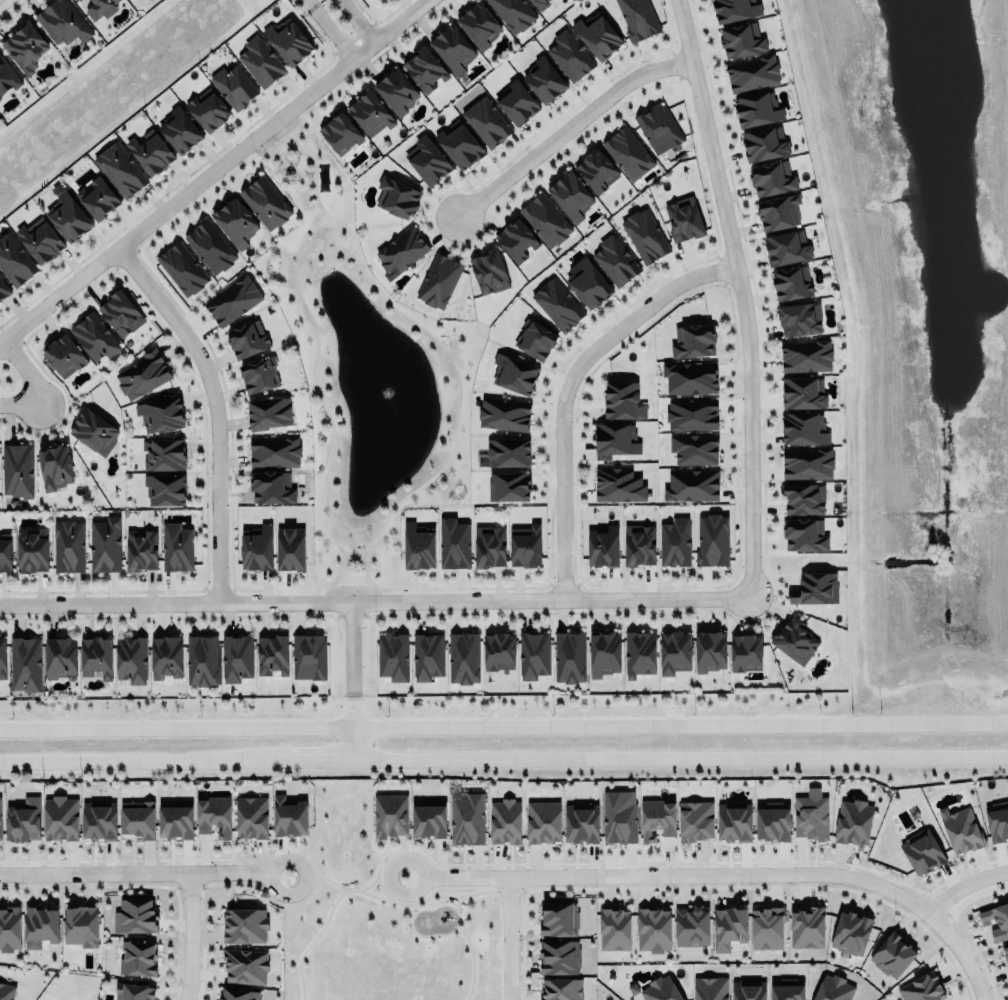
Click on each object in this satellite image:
building: (77, 0)
road: (324, 1)
building: (538, 4)
building: (101, 9)
building: (735, 10)
building: (514, 14)
building: (638, 19)
building: (62, 21)
road: (343, 25)
building: (479, 26)
building: (598, 36)
building: (741, 40)
building: (289, 43)
building: (452, 46)
building: (26, 48)
building: (570, 56)
building: (262, 62)
building: (425, 69)
building: (753, 74)
building: (7, 78)
building: (545, 81)
building: (234, 87)
building: (397, 92)
building: (518, 103)
building: (207, 107)
building: (758, 110)
building: (371, 114)
building: (485, 120)
road: (566, 126)
building: (659, 128)
building: (180, 131)
building: (339, 132)
road: (278, 138)
building: (765, 144)
building: (460, 146)
road: (288, 148)
building: (151, 154)
building: (628, 154)
building: (428, 161)
building: (121, 170)
building: (597, 172)
building: (772, 179)
road: (315, 195)
building: (571, 196)
building: (397, 198)
building: (99, 200)
building: (266, 201)
road: (164, 205)
building: (780, 213)
building: (69, 218)
building: (545, 220)
building: (685, 220)
building: (236, 221)
building: (645, 236)
building: (40, 241)
building: (516, 241)
building: (210, 247)
building: (787, 248)
building: (401, 252)
building: (15, 261)
building: (615, 261)
building: (180, 268)
building: (489, 271)
building: (438, 281)
building: (792, 282)
building: (589, 285)
building: (3, 290)
road: (741, 295)
building: (233, 299)
building: (557, 305)
building: (119, 310)
building: (801, 320)
building: (95, 335)
building: (248, 337)
building: (535, 340)
building: (693, 341)
building: (64, 354)
building: (807, 356)
building: (143, 372)
building: (260, 372)
building: (515, 374)
building: (690, 378)
road: (566, 384)
fountain: (386, 392)
building: (804, 394)
building: (623, 402)
road: (213, 407)
building: (266, 410)
building: (161, 411)
building: (504, 413)
building: (693, 414)
building: (805, 429)
building: (94, 431)
building: (616, 441)
building: (694, 449)
building: (276, 450)
building: (508, 453)
building: (163, 454)
building: (806, 462)
building: (55, 464)
building: (18, 468)
building: (619, 485)
building: (692, 485)
building: (273, 486)
building: (165, 487)
building: (509, 487)
road: (413, 490)
building: (805, 499)
building: (806, 535)
building: (712, 540)
building: (675, 541)
building: (106, 542)
building: (455, 542)
building: (69, 544)
building: (177, 545)
building: (419, 545)
building: (491, 545)
building: (526, 545)
building: (639, 545)
building: (258, 546)
building: (291, 546)
building: (603, 547)
building: (33, 549)
building: (5, 550)
building: (141, 550)
road: (343, 561)
road: (364, 562)
road: (350, 572)
road: (351, 586)
building: (815, 589)
road: (375, 598)
building: (795, 641)
road: (350, 648)
building: (711, 649)
building: (499, 650)
building: (675, 650)
building: (640, 651)
building: (746, 651)
building: (603, 652)
building: (61, 655)
building: (96, 655)
building: (165, 655)
building: (272, 655)
building: (534, 655)
building: (3, 656)
building: (234, 656)
building: (568, 656)
building: (308, 657)
building: (393, 657)
building: (428, 657)
building: (464, 657)
building: (131, 658)
building: (202, 658)
building: (26, 662)
road: (350, 713)
road: (504, 728)
road: (350, 745)
road: (504, 761)
building: (214, 813)
building: (389, 814)
building: (252, 815)
building: (289, 815)
building: (61, 816)
building: (810, 816)
building: (619, 817)
building: (176, 818)
building: (429, 818)
building: (468, 818)
building: (24, 819)
building: (657, 819)
building: (98, 820)
building: (137, 820)
building: (694, 820)
building: (735, 820)
building: (854, 820)
building: (997, 820)
building: (505, 822)
building: (543, 822)
building: (581, 822)
building: (772, 822)
building: (0, 825)
building: (960, 830)
building: (922, 853)
road: (142, 863)
road: (672, 874)
road: (964, 883)
building: (135, 916)
building: (559, 917)
building: (996, 919)
building: (81, 924)
building: (692, 925)
building: (244, 926)
building: (10, 927)
building: (40, 927)
building: (613, 927)
building: (654, 928)
building: (729, 928)
building: (766, 928)
building: (807, 928)
building: (851, 931)
road: (191, 932)
road: (506, 937)
building: (1005, 951)
road: (961, 954)
building: (557, 955)
building: (892, 956)
building: (138, 958)
building: (245, 966)
building: (709, 987)
building: (923, 987)
building: (834, 988)
building: (561, 989)
building: (663, 989)
building: (787, 989)
building: (748, 990)
building: (7, 991)
building: (133, 991)
building: (238, 994)

